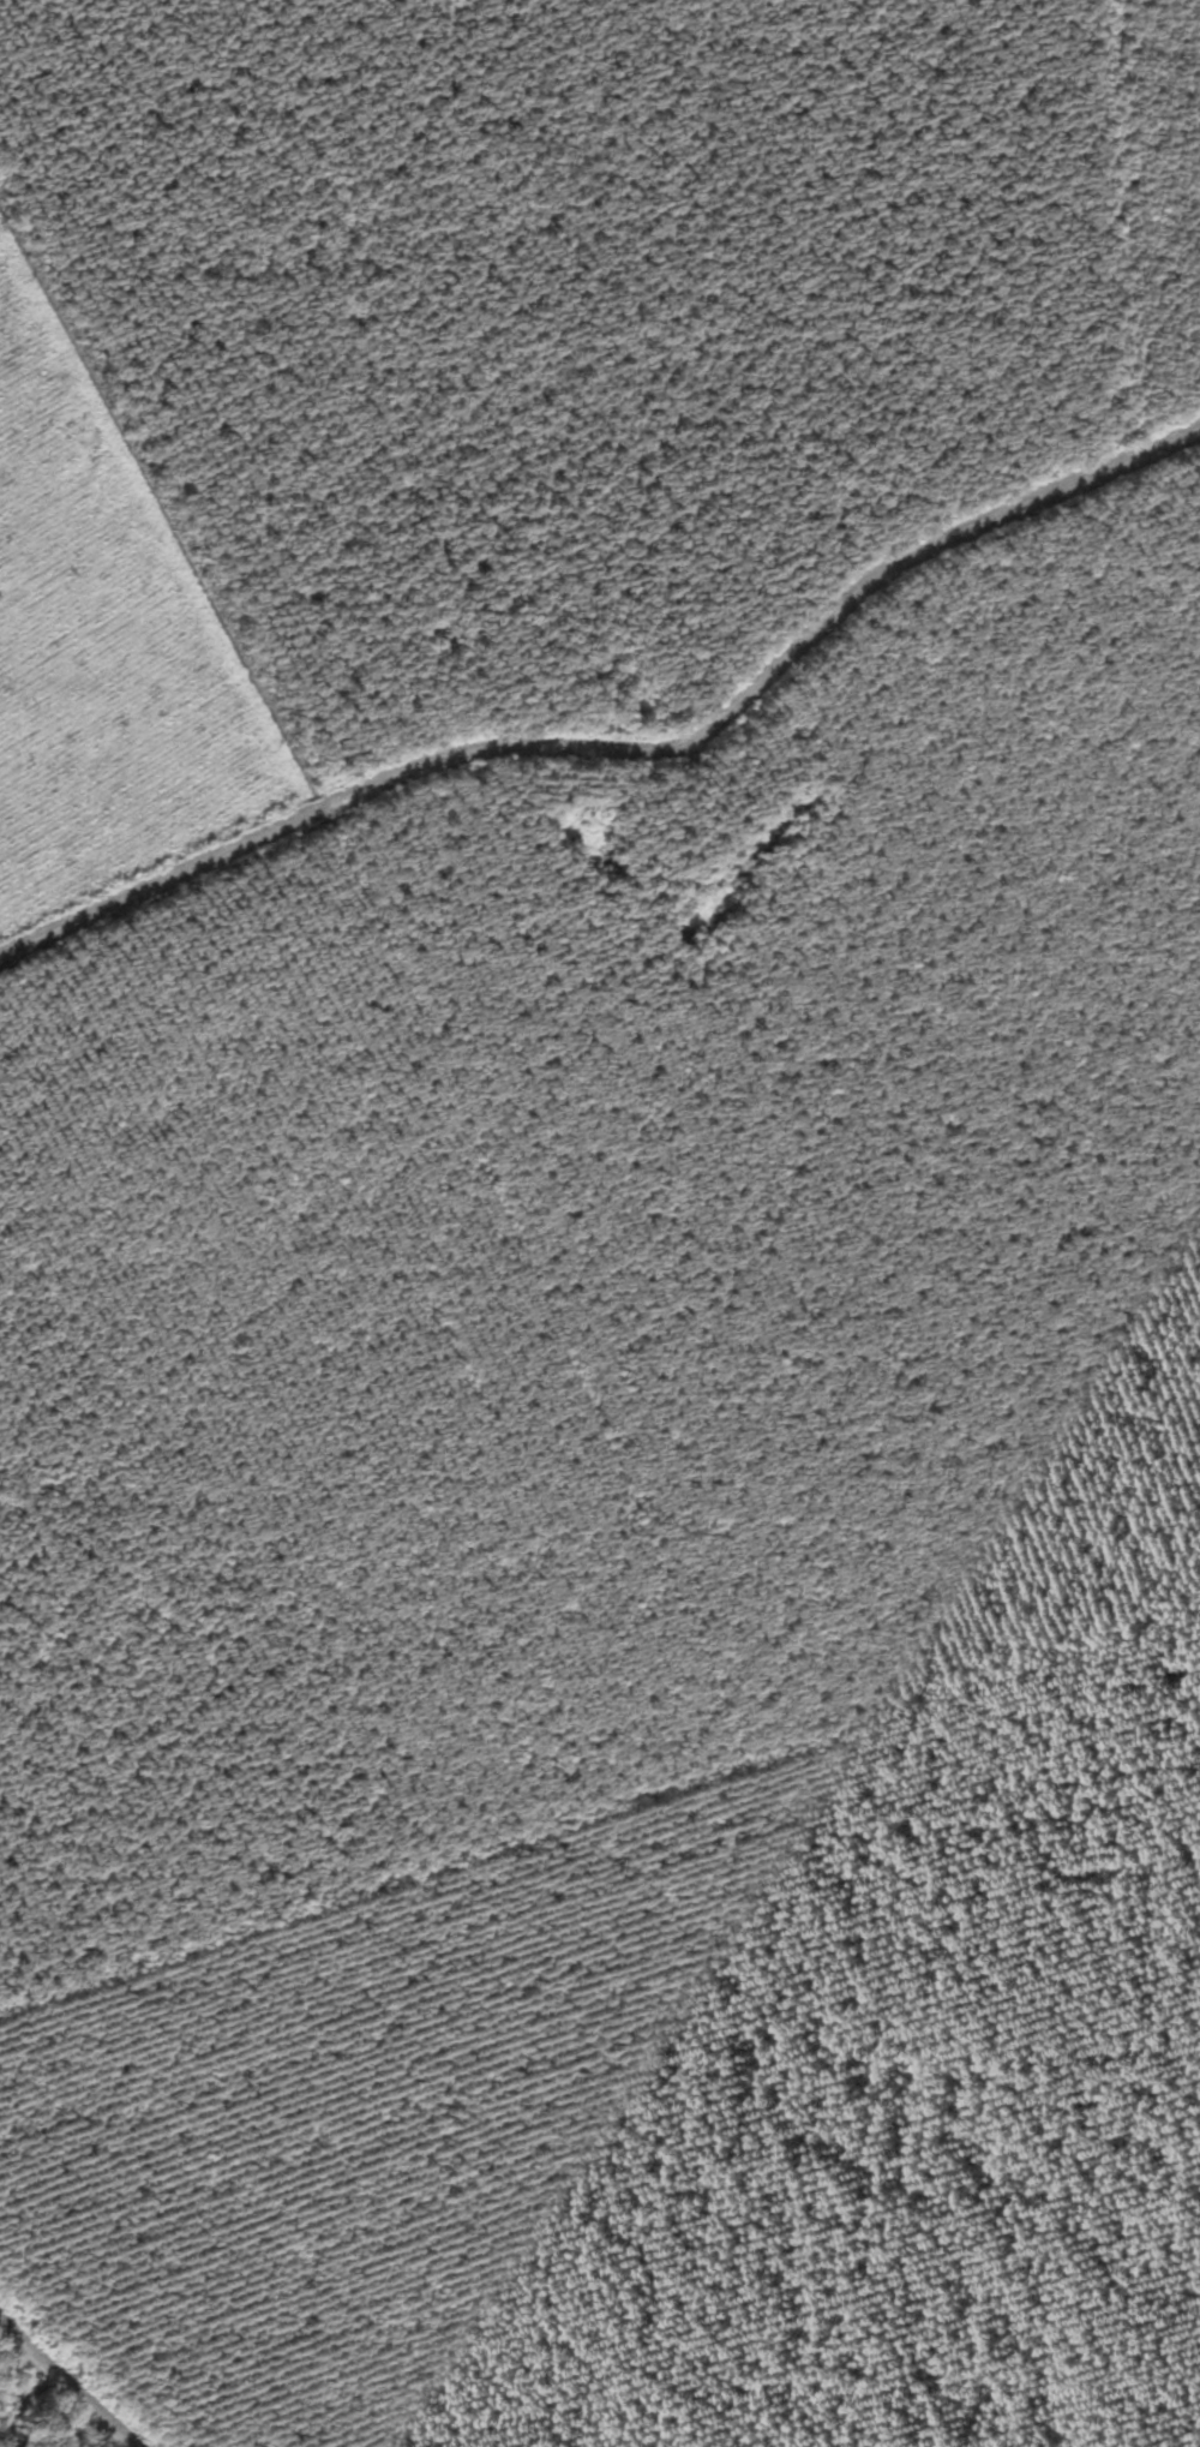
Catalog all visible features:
road: (630, 772)
road: (65, 2391)

